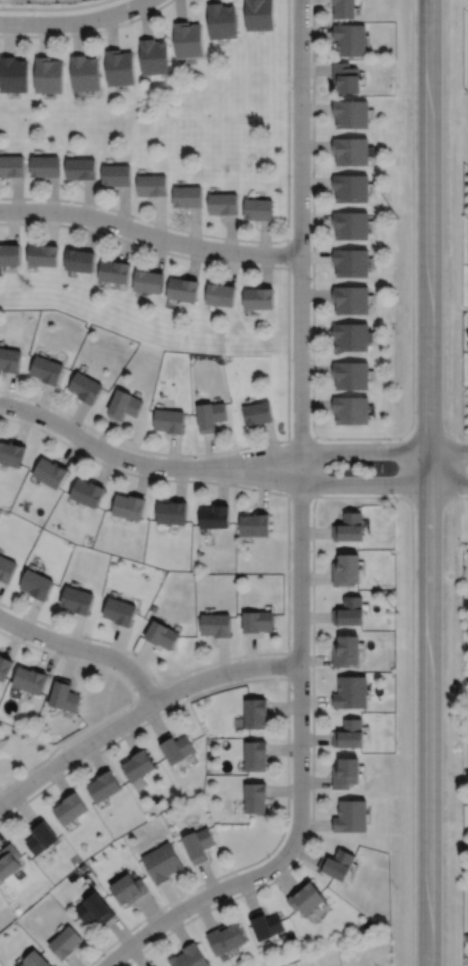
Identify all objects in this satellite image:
road: (180, 8)
building: (345, 9)
building: (259, 15)
road: (145, 17)
building: (221, 21)
road: (74, 22)
road: (111, 30)
road: (88, 32)
road: (314, 32)
road: (9, 36)
road: (77, 36)
road: (44, 37)
building: (350, 39)
building: (188, 40)
building: (155, 57)
building: (120, 67)
road: (312, 70)
building: (85, 73)
building: (49, 75)
building: (13, 76)
building: (346, 78)
road: (313, 109)
building: (351, 114)
park: (173, 121)
road: (312, 146)
building: (351, 150)
building: (11, 166)
building: (45, 166)
building: (81, 169)
building: (116, 174)
road: (313, 181)
building: (151, 185)
building: (351, 188)
building: (187, 196)
road: (17, 197)
road: (51, 197)
road: (88, 200)
building: (223, 204)
road: (123, 208)
building: (258, 209)
road: (159, 218)
road: (313, 219)
road: (13, 225)
building: (351, 225)
road: (52, 226)
road: (194, 229)
road: (90, 232)
road: (149, 233)
road: (231, 235)
road: (265, 239)
road: (259, 242)
road: (126, 243)
road: (160, 252)
road: (289, 253)
building: (43, 254)
building: (10, 255)
road: (313, 257)
building: (80, 260)
road: (195, 260)
building: (352, 263)
road: (232, 265)
road: (266, 268)
building: (114, 272)
building: (148, 282)
building: (183, 290)
road: (312, 294)
building: (220, 295)
building: (259, 298)
building: (351, 299)
road: (313, 332)
building: (351, 336)
road: (287, 339)
building: (10, 361)
building: (47, 370)
road: (312, 370)
building: (351, 375)
building: (85, 388)
road: (7, 391)
road: (19, 395)
road: (42, 402)
building: (124, 404)
road: (314, 404)
building: (351, 409)
building: (257, 412)
building: (210, 416)
road: (300, 416)
road: (76, 418)
building: (169, 420)
road: (105, 435)
road: (360, 438)
road: (272, 446)
road: (361, 450)
road: (448, 451)
road: (209, 452)
building: (11, 453)
road: (173, 453)
road: (143, 462)
building: (50, 472)
road: (427, 482)
road: (361, 484)
road: (447, 484)
building: (87, 492)
building: (128, 506)
building: (171, 512)
building: (214, 517)
building: (254, 524)
building: (350, 528)
building: (6, 568)
building: (346, 570)
building: (36, 584)
building: (76, 599)
building: (120, 611)
building: (350, 612)
building: (257, 621)
building: (215, 624)
building: (161, 634)
road: (85, 649)
building: (346, 651)
building: (4, 667)
road: (223, 673)
building: (29, 679)
building: (351, 692)
building: (63, 695)
building: (255, 713)
building: (350, 734)
road: (77, 736)
building: (175, 748)
road: (74, 751)
park: (20, 756)
building: (255, 756)
building: (138, 765)
building: (346, 772)
building: (103, 786)
road: (0, 791)
building: (255, 797)
building: (70, 809)
building: (351, 817)
building: (41, 836)
building: (199, 844)
building: (9, 861)
building: (162, 862)
building: (337, 864)
building: (128, 888)
road: (202, 898)
building: (307, 899)
building: (94, 909)
building: (266, 924)
building: (226, 939)
building: (65, 942)
building: (190, 957)
building: (35, 960)

